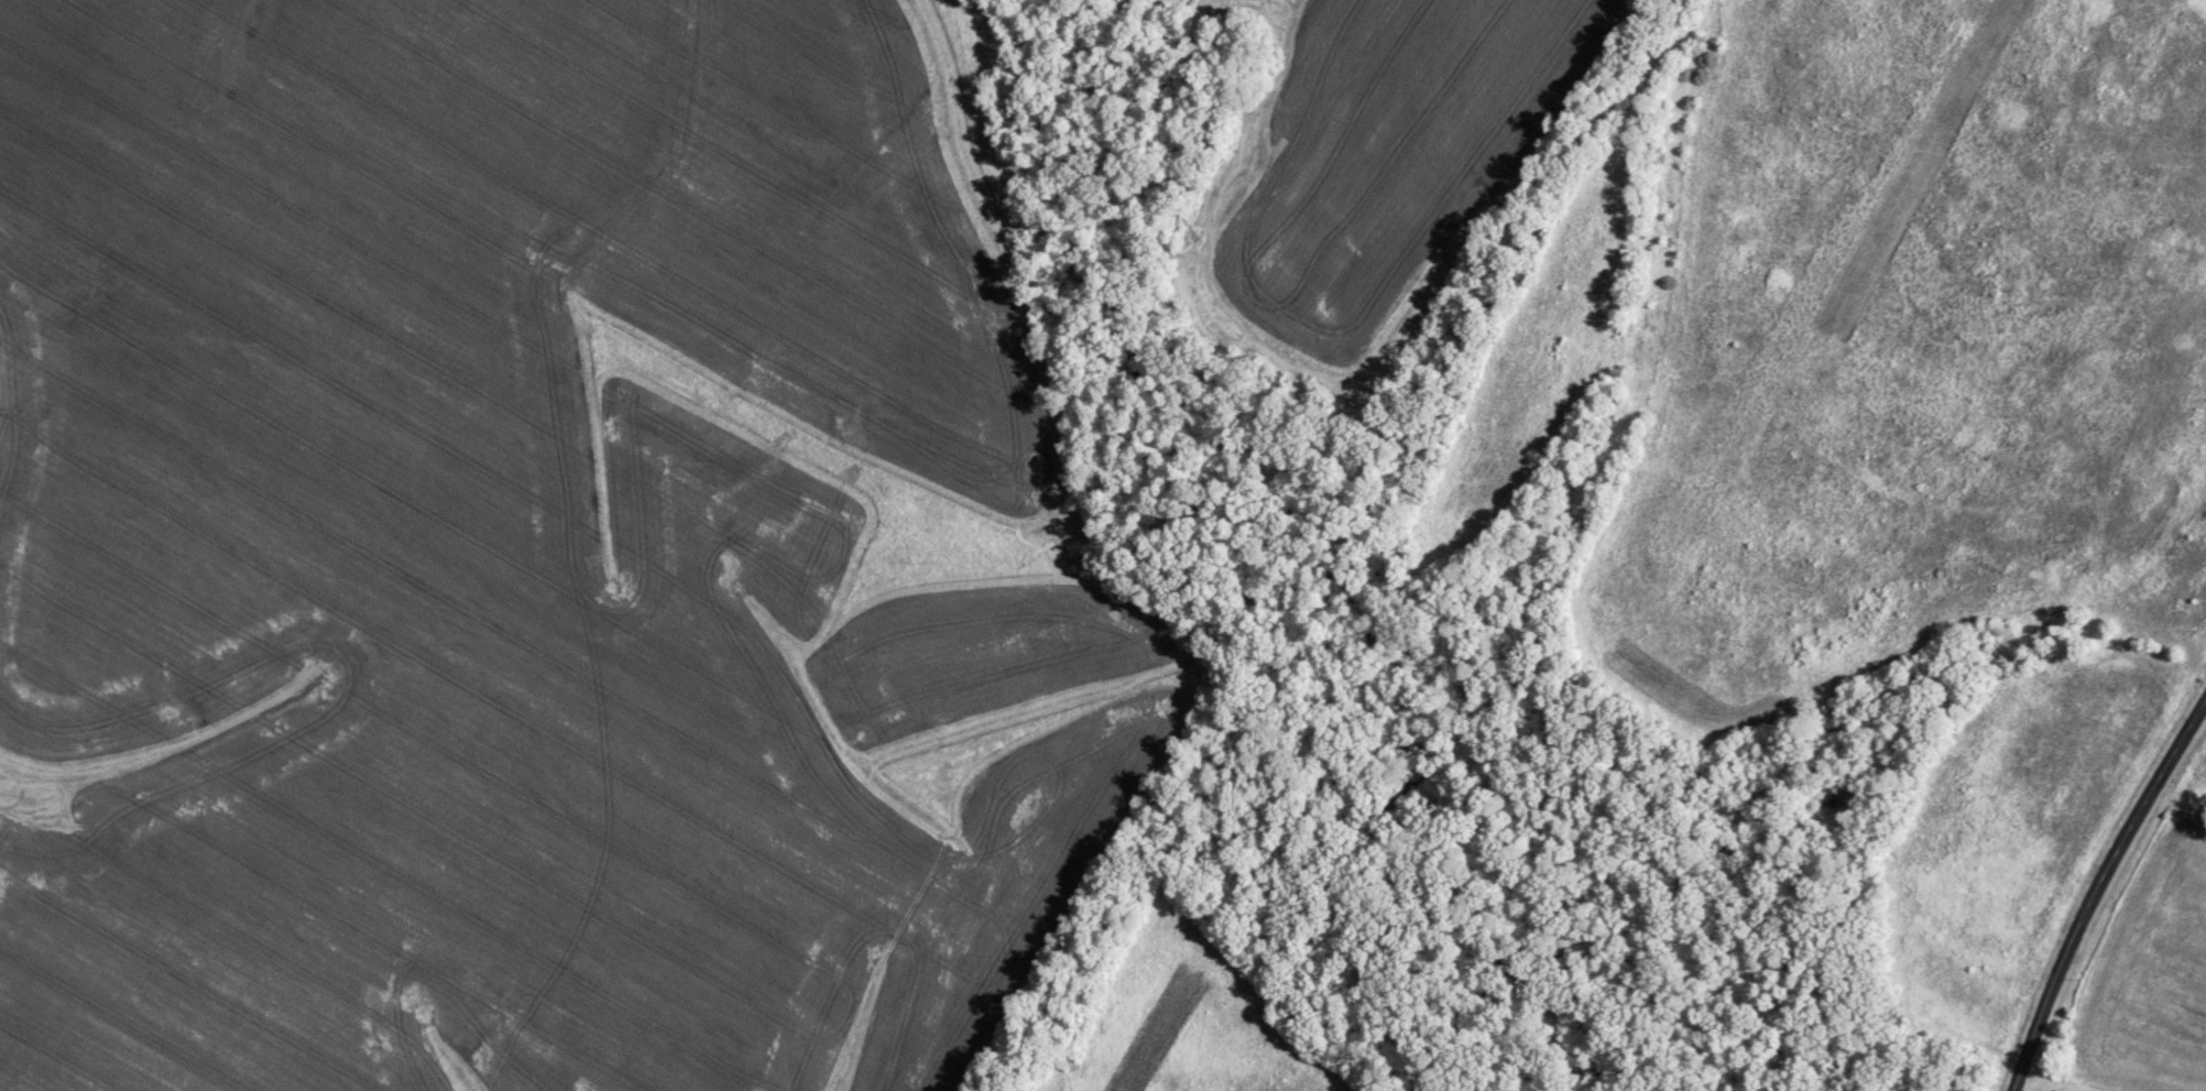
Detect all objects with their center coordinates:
road: (2097, 892)

